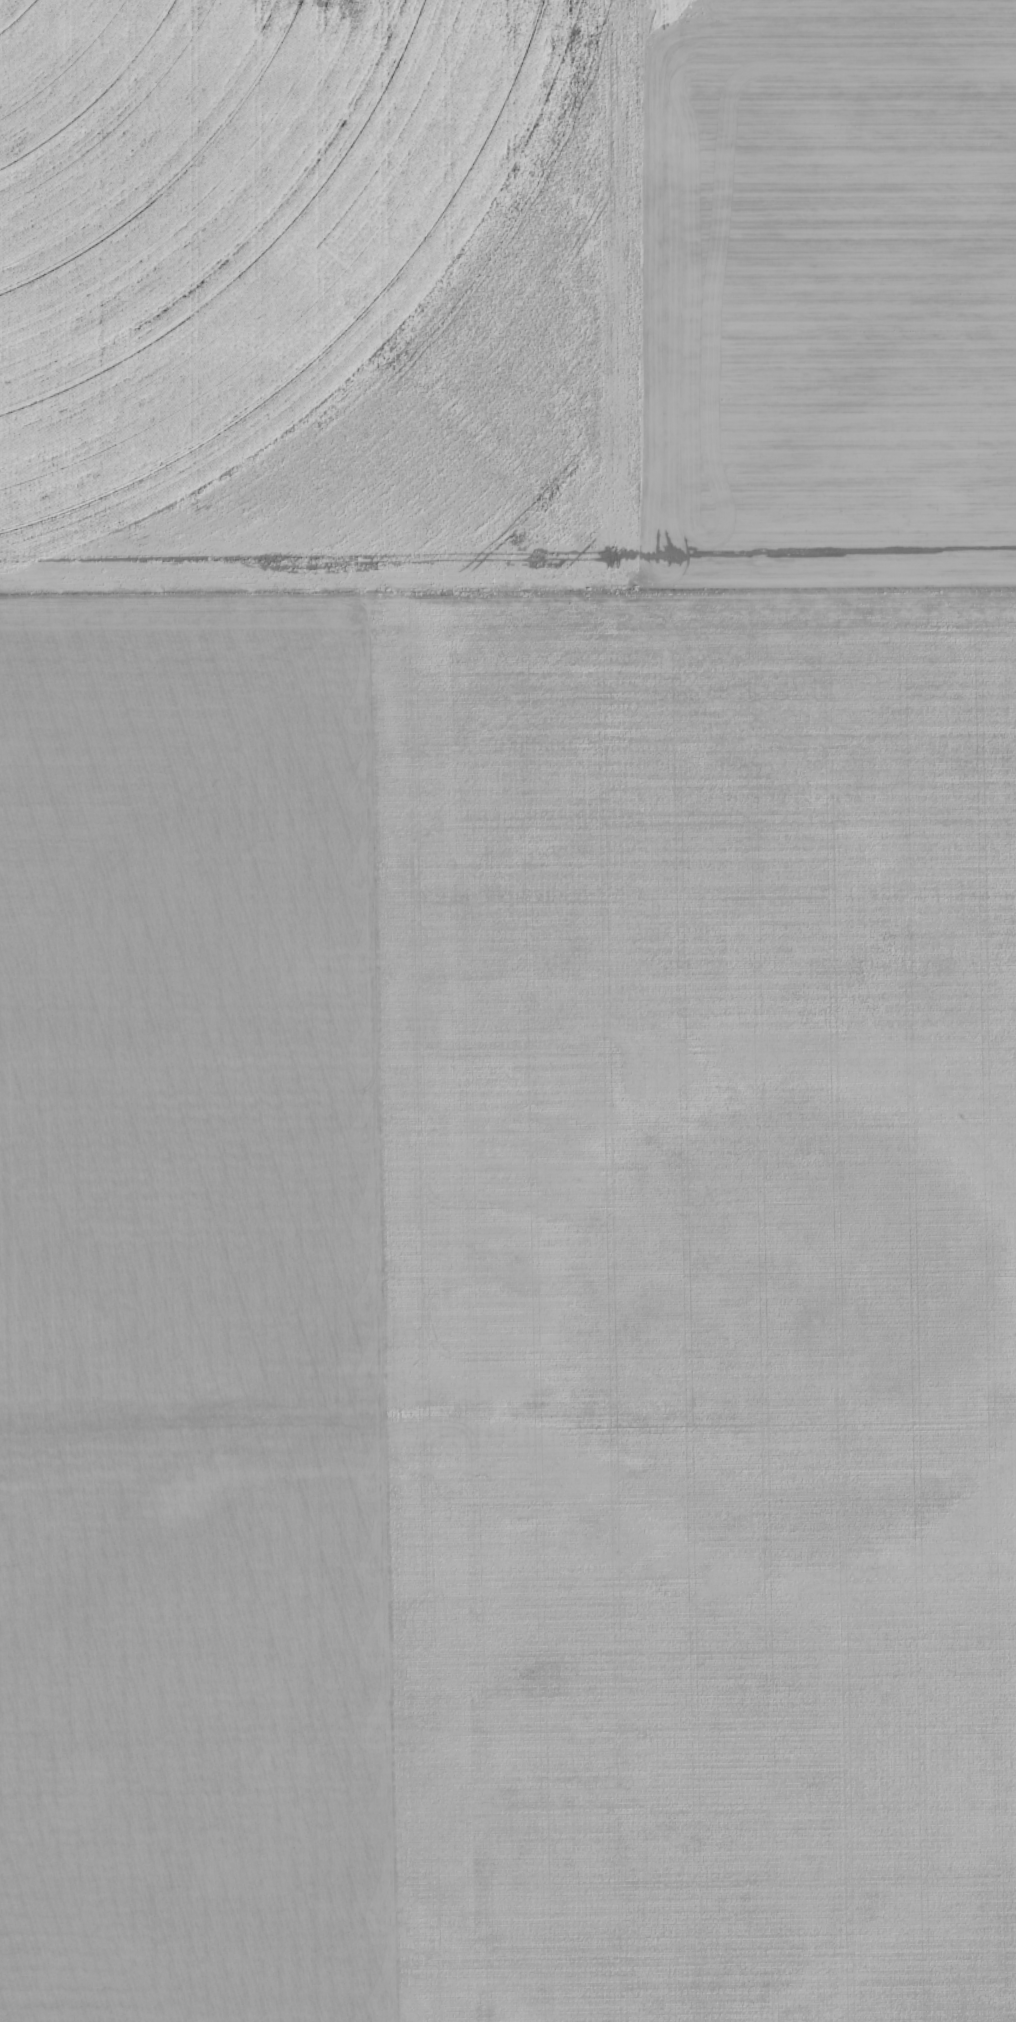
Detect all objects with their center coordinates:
road: (594, 573)

